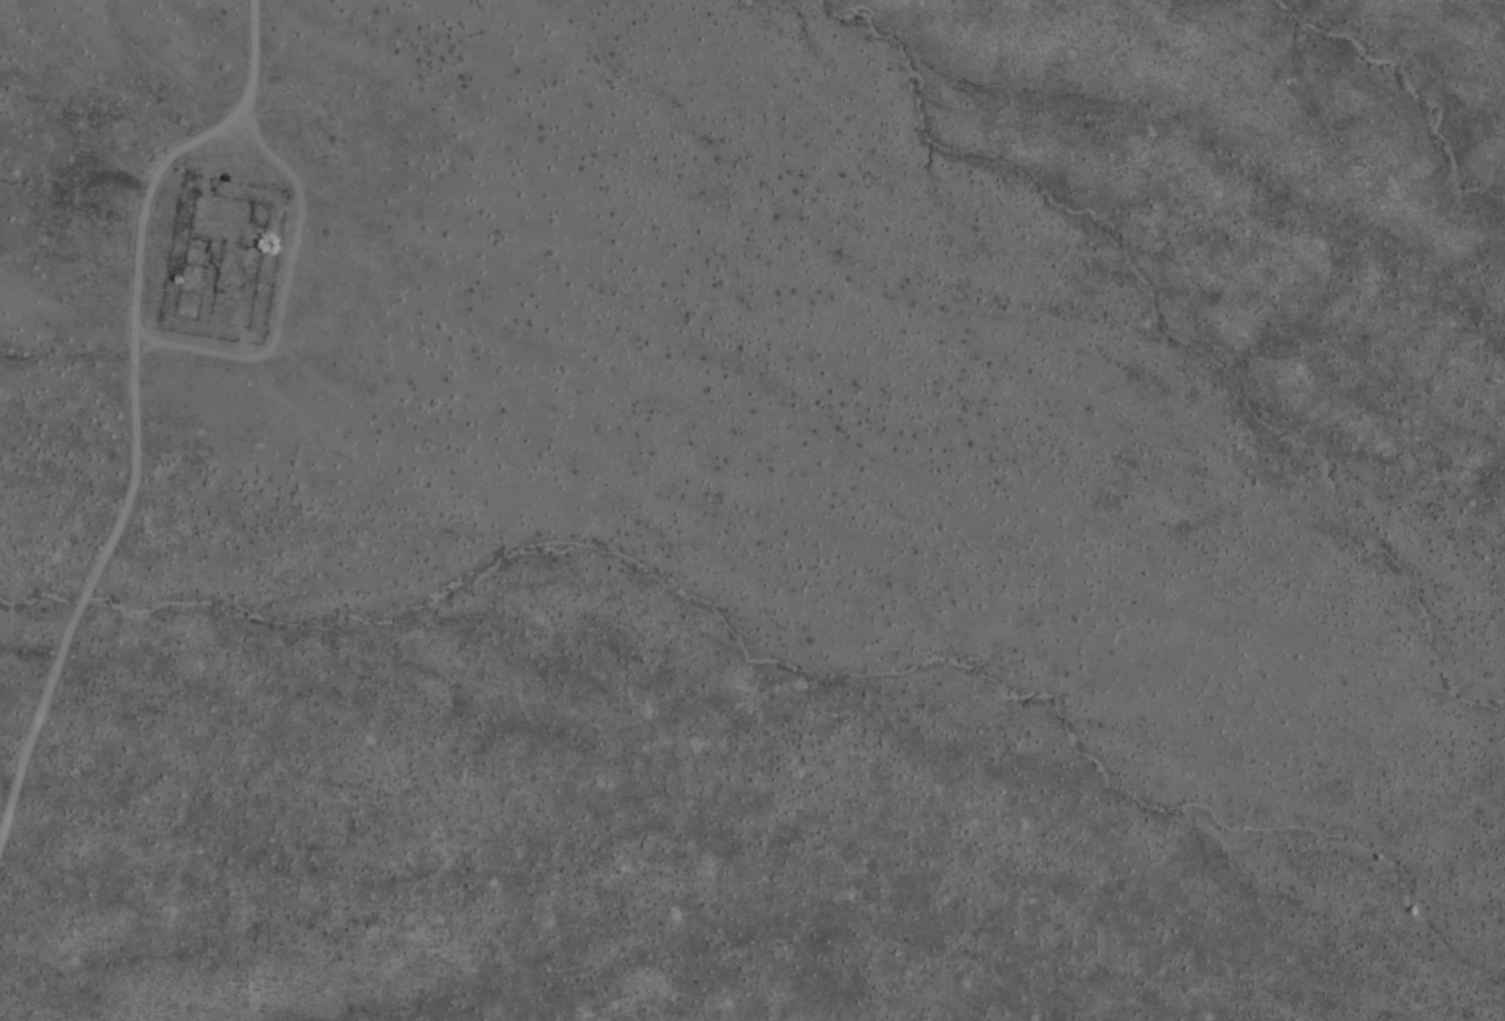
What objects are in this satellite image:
road: (131, 399)

